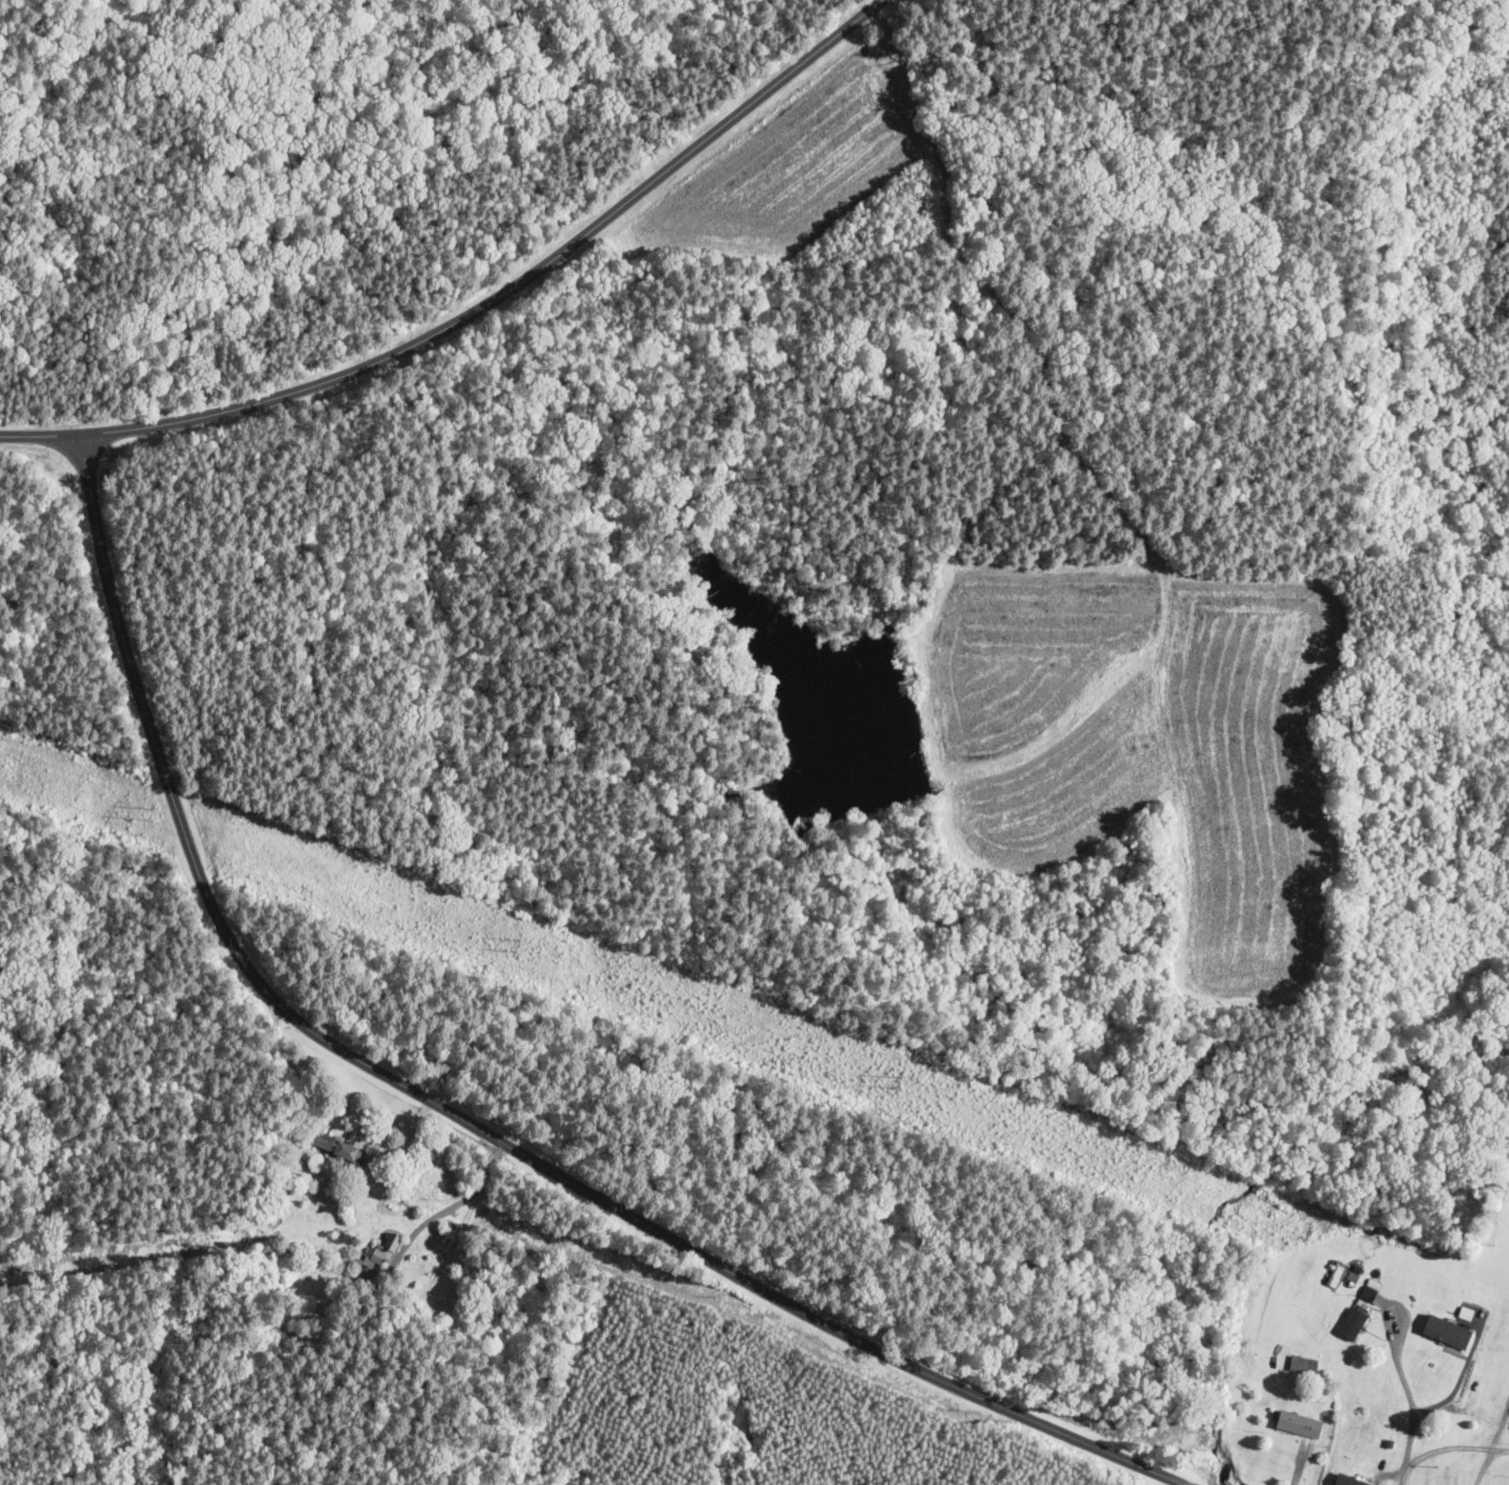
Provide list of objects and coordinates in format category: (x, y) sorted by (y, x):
road: (482, 310)
power tower: (115, 669)
power tower: (257, 710)
power tower: (680, 901)
road: (454, 1116)
building: (336, 1147)
power tower: (1337, 1153)
building: (382, 1253)
building: (1343, 1278)
building: (1354, 1325)
building: (1448, 1333)
building: (1305, 1366)
building: (1300, 1425)
road: (1487, 1460)
building: (1350, 1481)

